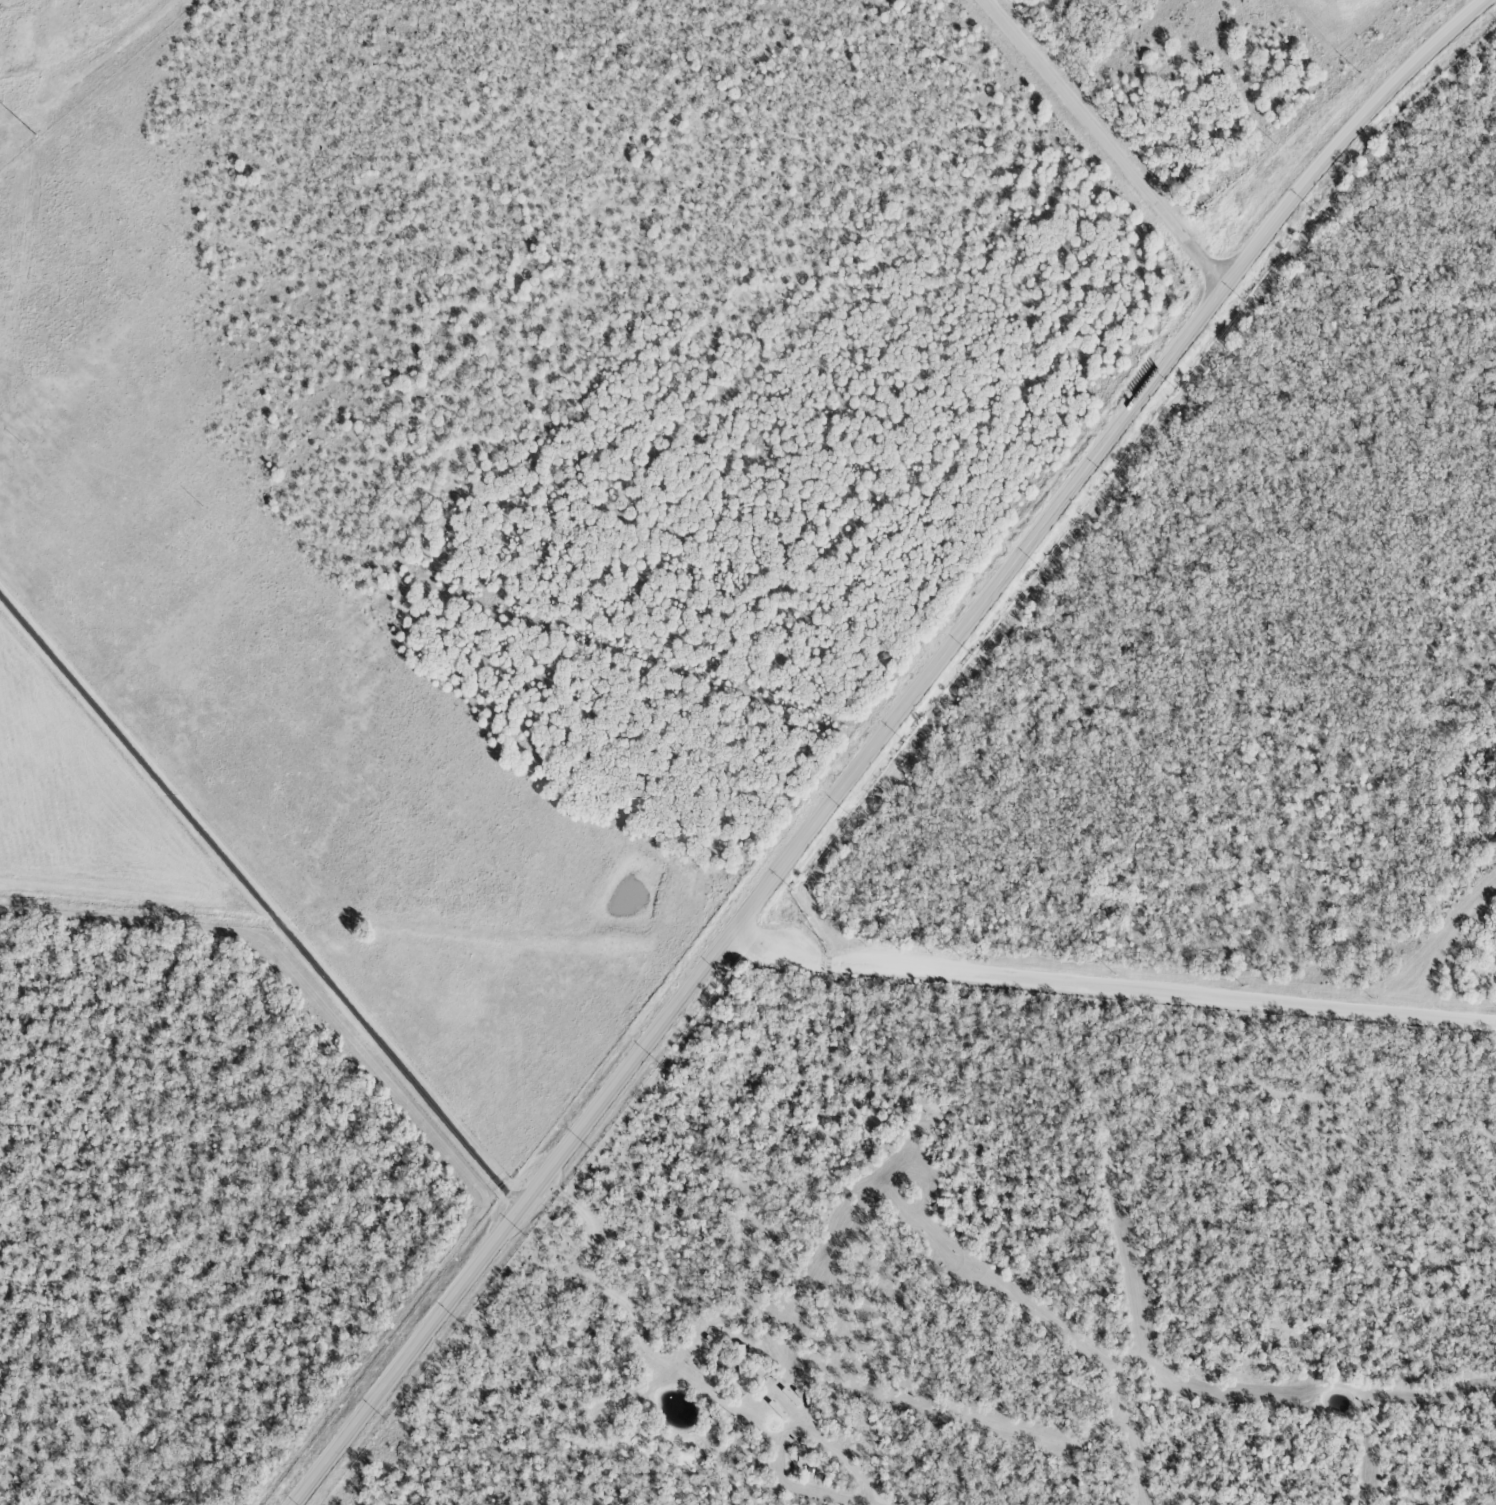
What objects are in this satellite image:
power tower: (34, 131)
road: (1106, 147)
road: (876, 742)
road: (259, 901)
road: (1111, 987)

